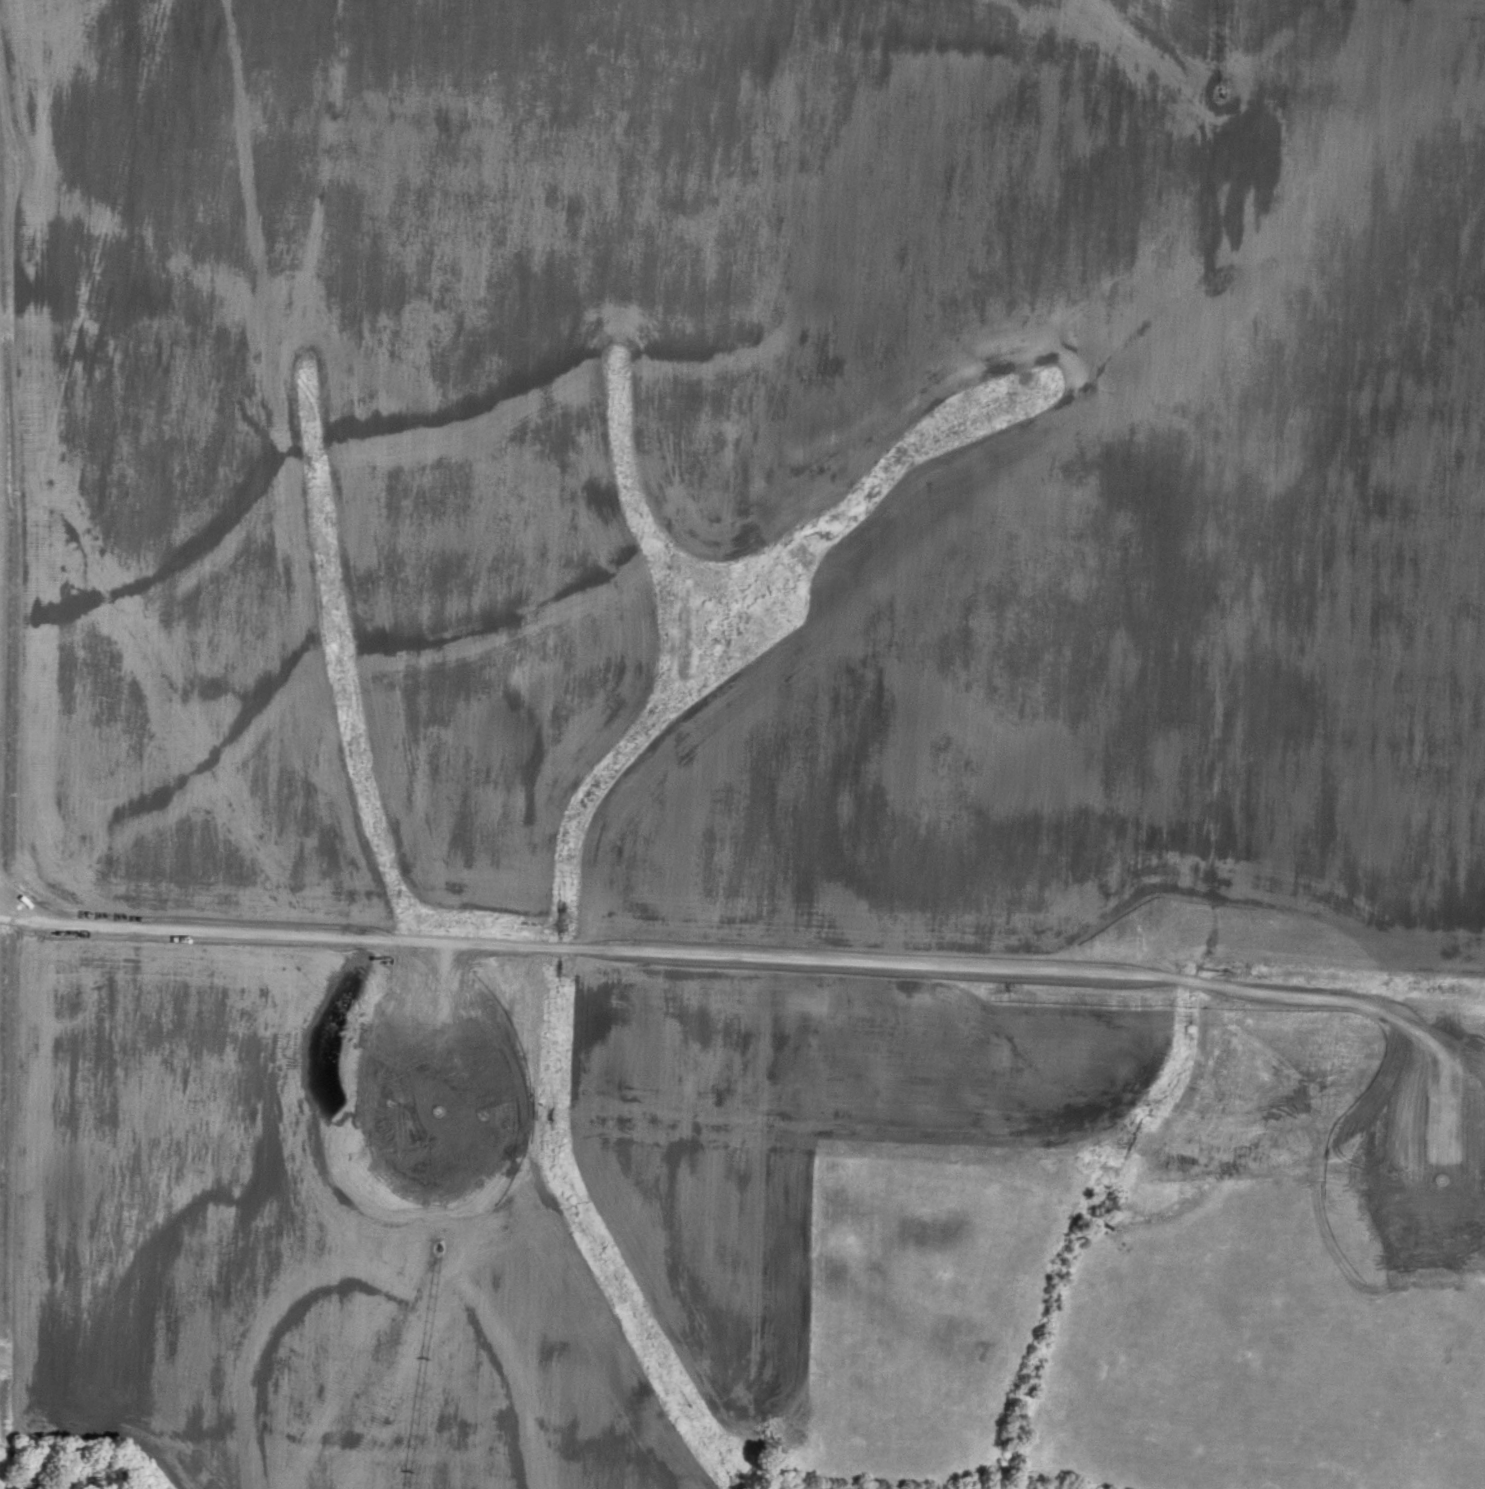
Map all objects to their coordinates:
wind turbine: (431, 1119)
wind turbine: (1432, 1180)

